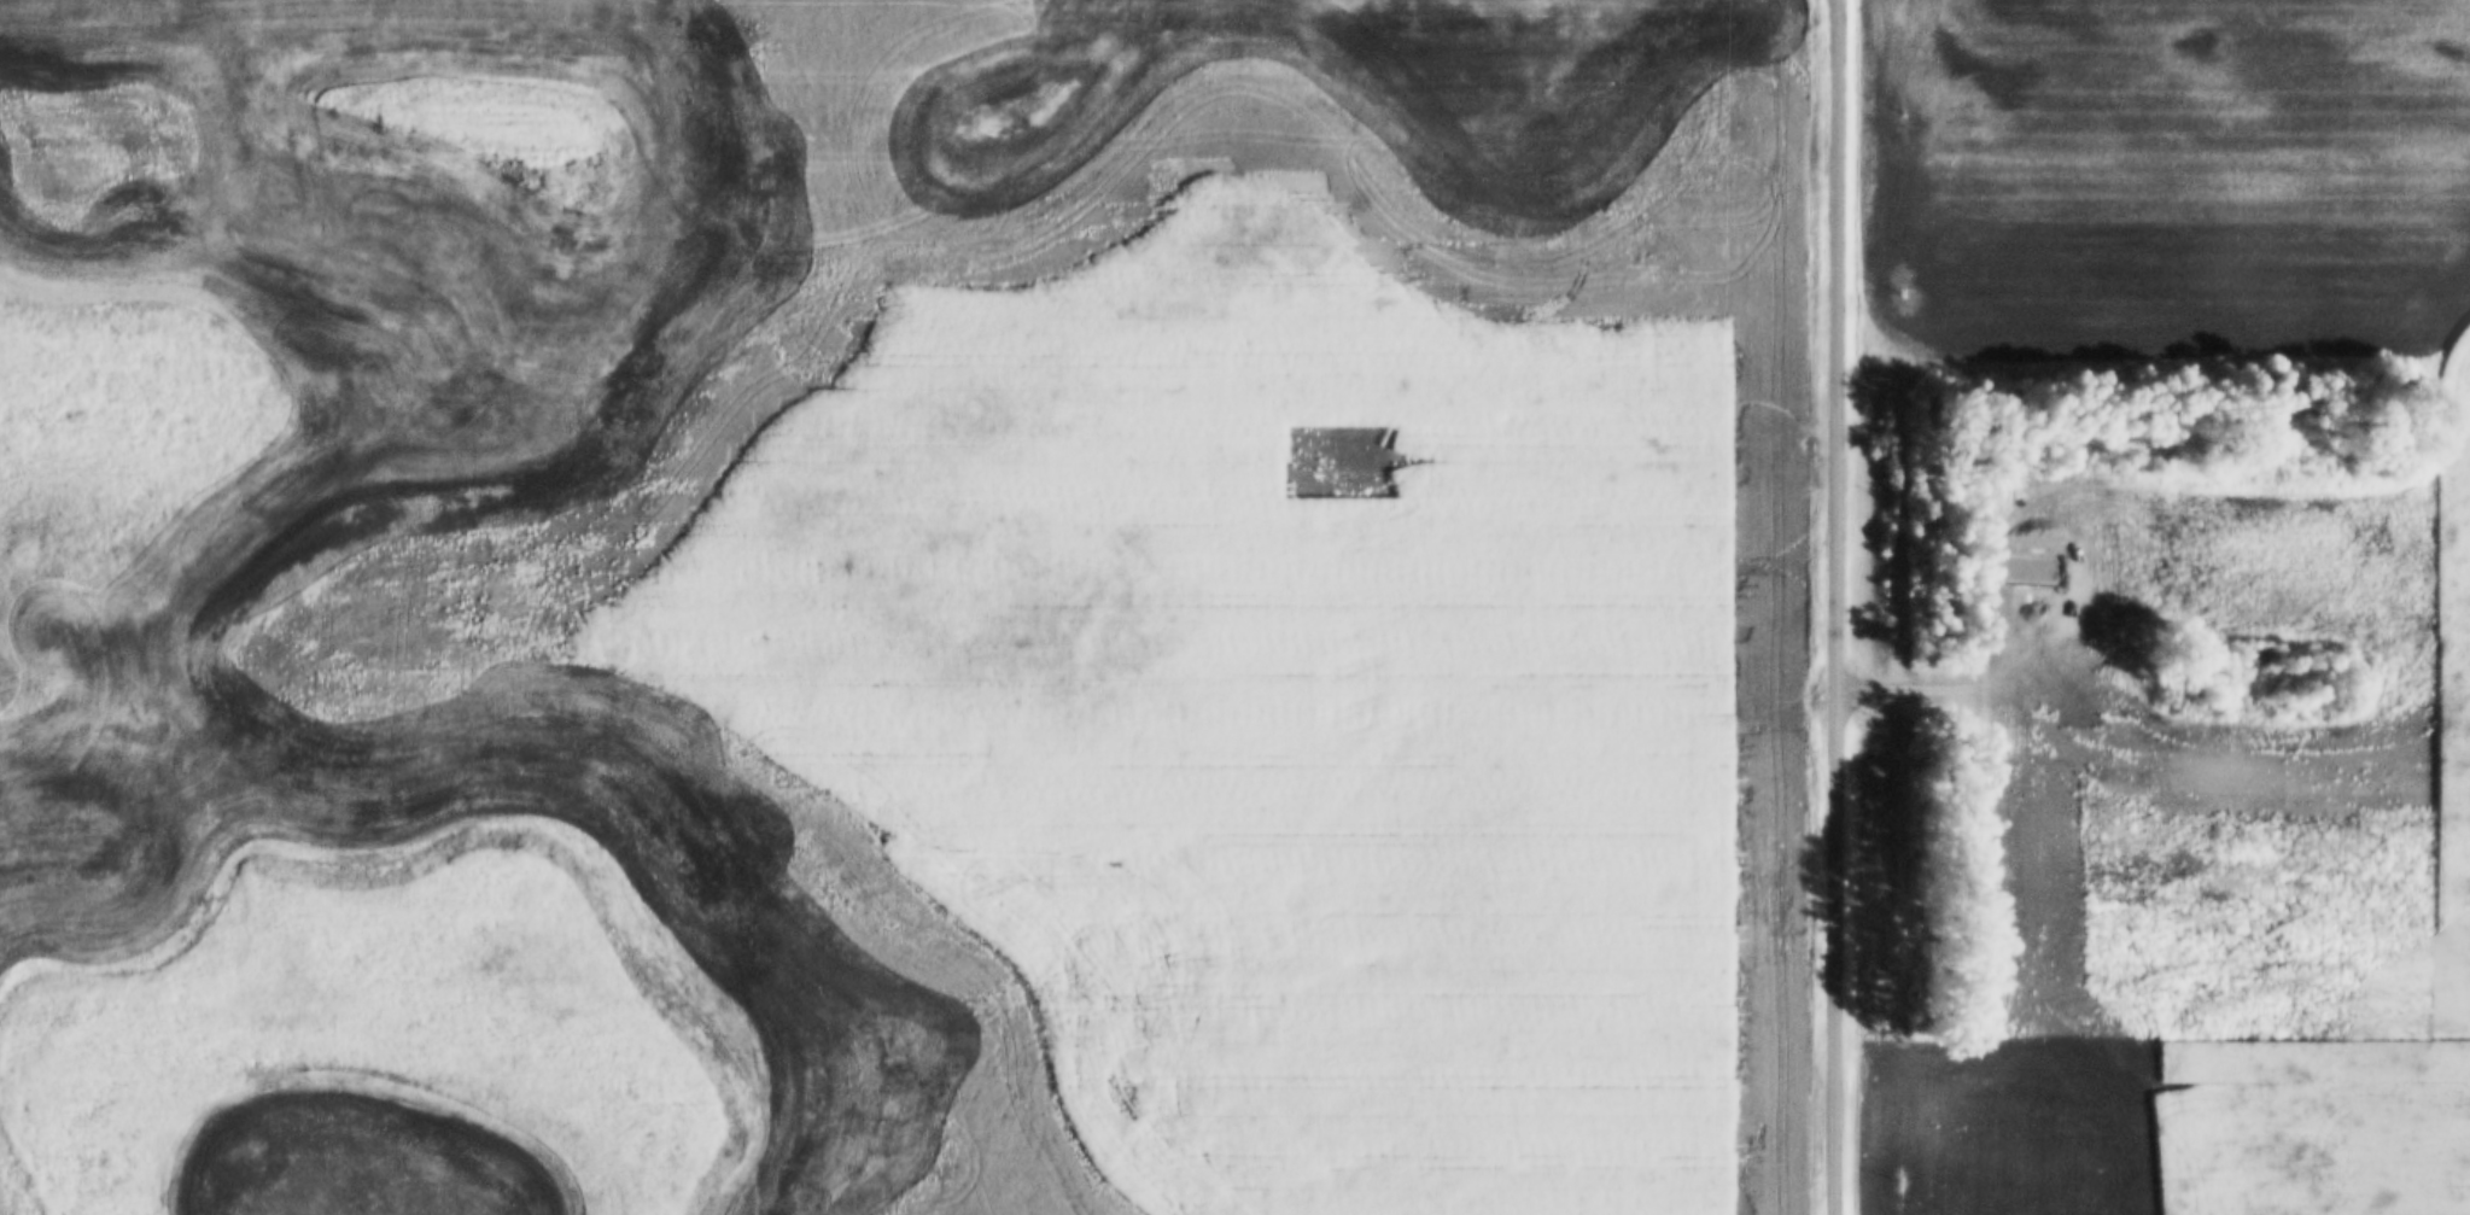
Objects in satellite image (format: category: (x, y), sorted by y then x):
road: (1837, 607)

